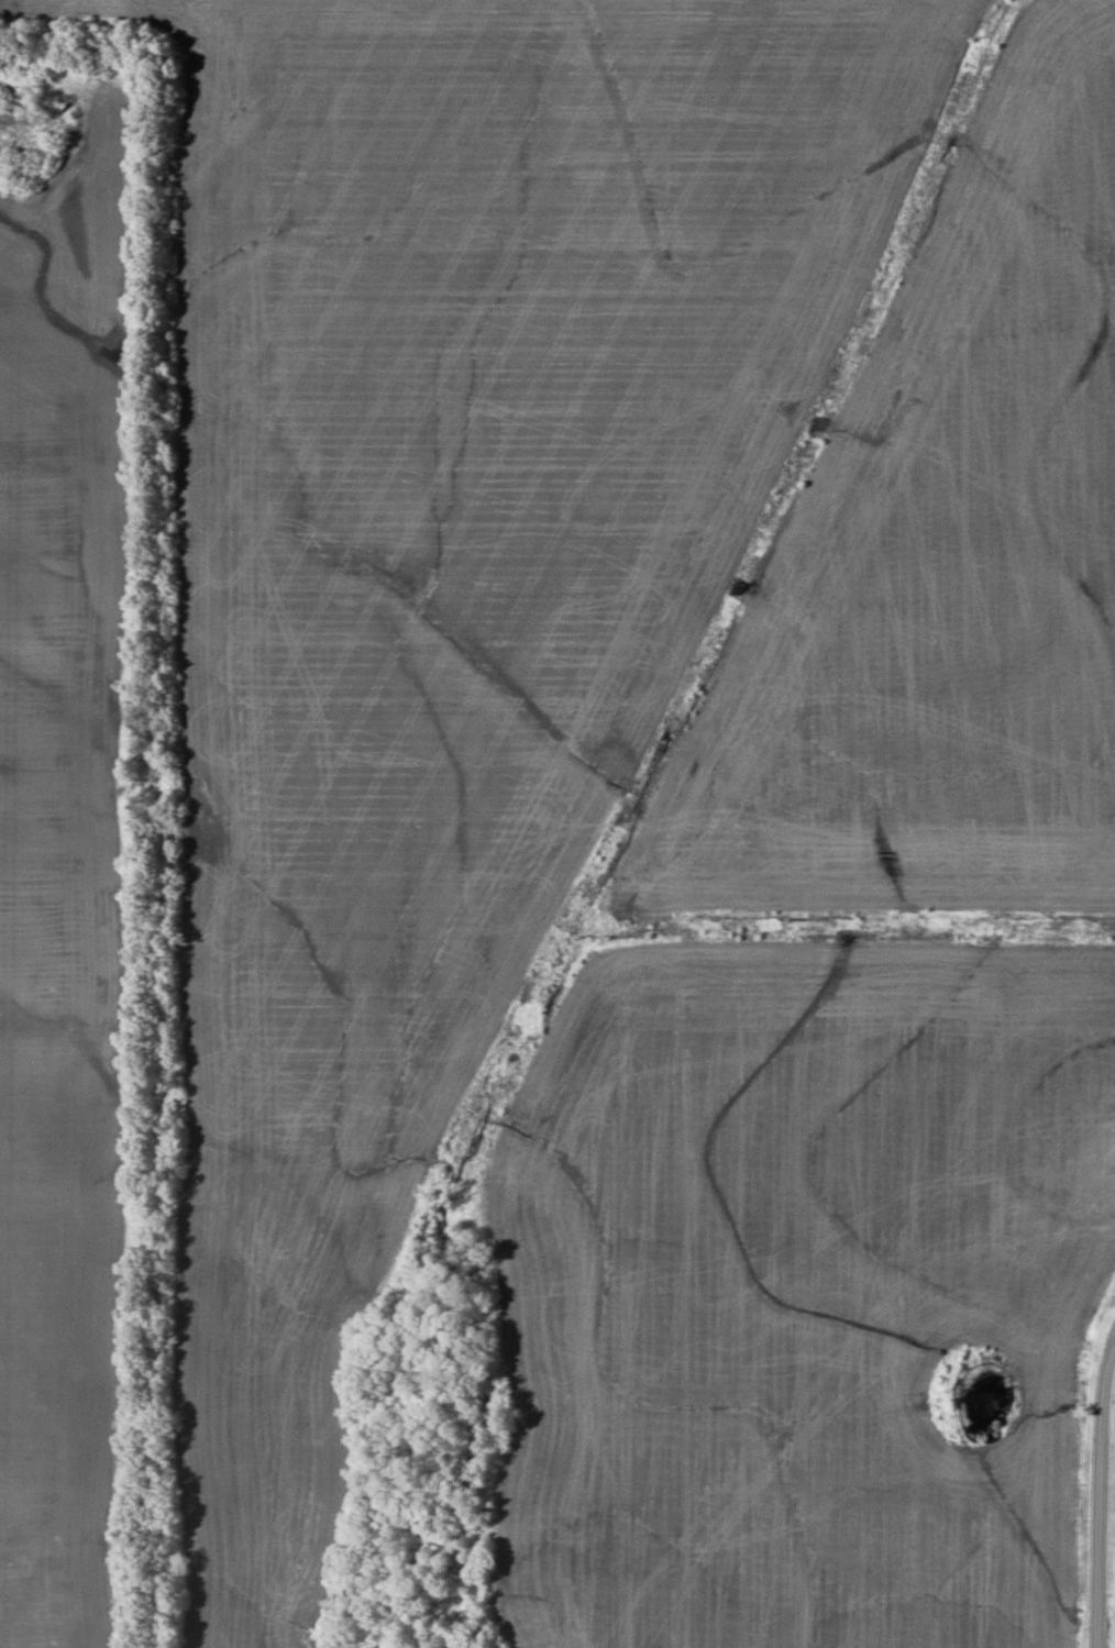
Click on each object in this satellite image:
road: (1103, 1389)
road: (1096, 1538)

